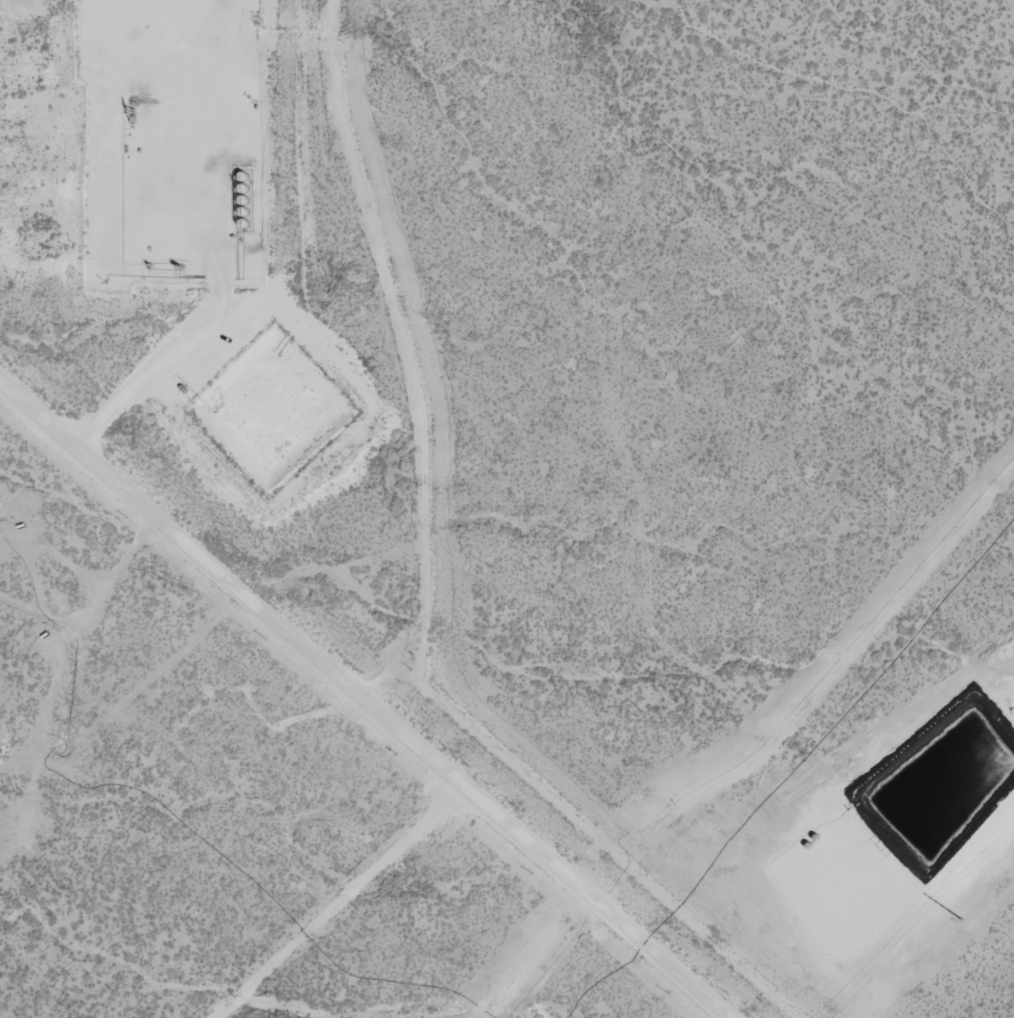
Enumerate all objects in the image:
road: (156, 358)
road: (363, 699)

